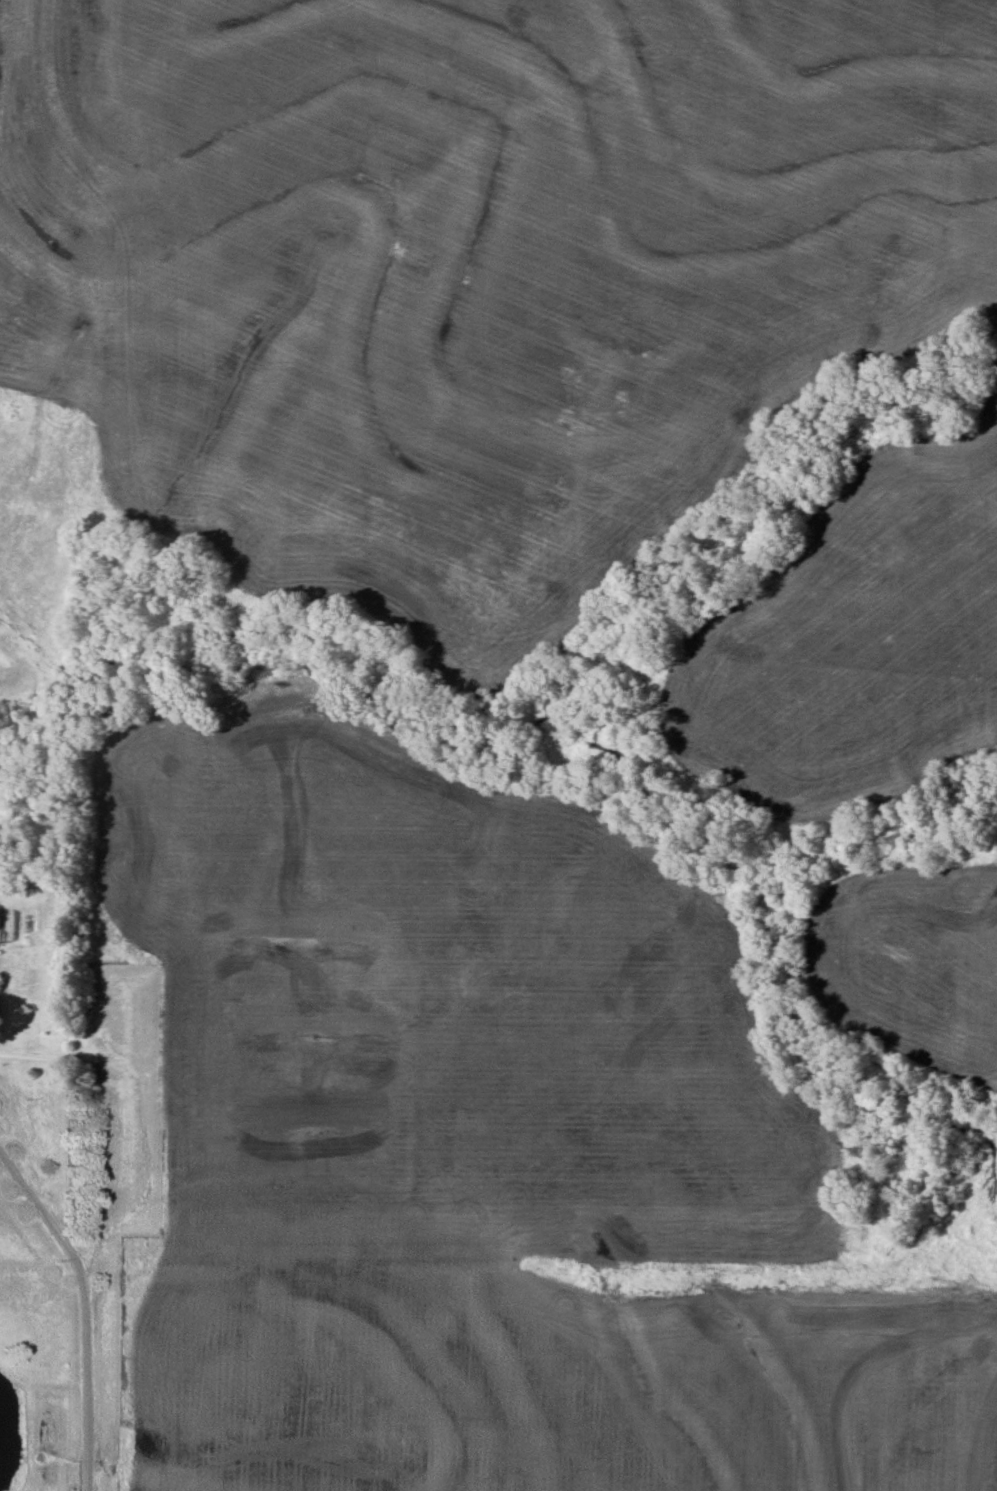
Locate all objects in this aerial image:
road: (81, 1310)

